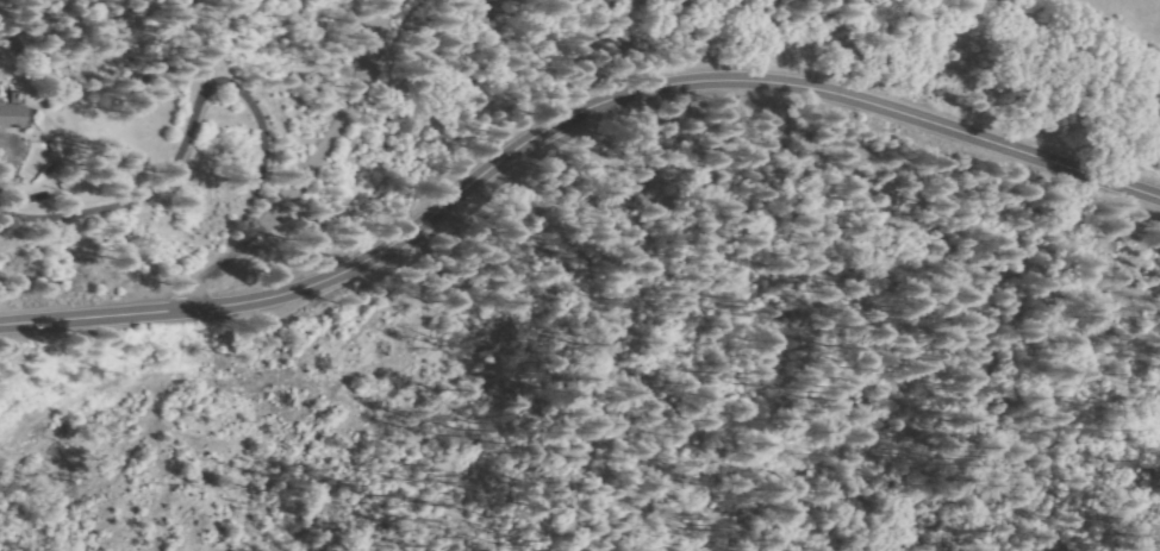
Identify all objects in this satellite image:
building: (15, 111)
road: (563, 127)
building: (61, 150)
road: (328, 152)
road: (177, 165)

